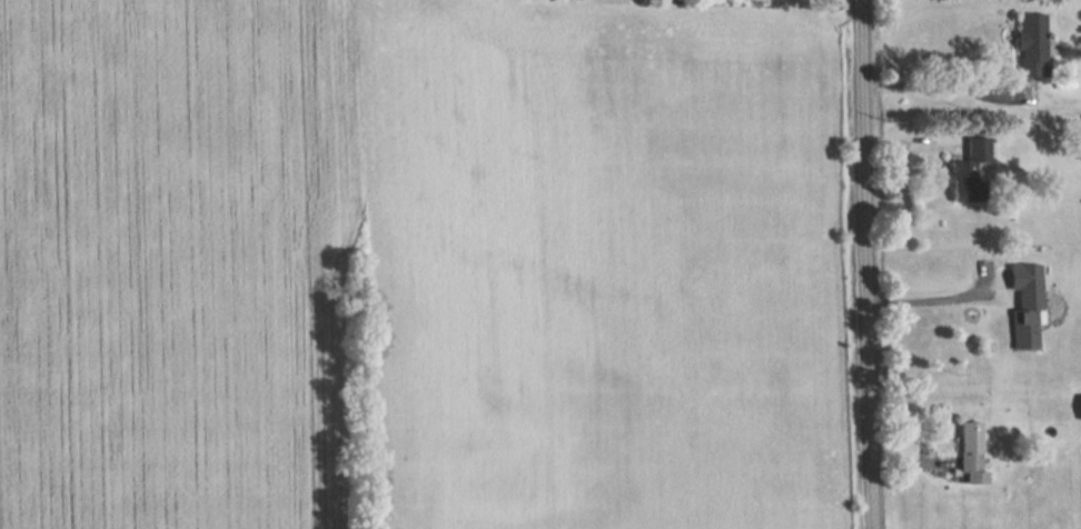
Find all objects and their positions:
building: (1030, 43)
road: (949, 77)
building: (1080, 149)
building: (968, 170)
road: (874, 264)
road: (936, 292)
building: (1023, 306)
building: (1079, 408)
building: (970, 453)

